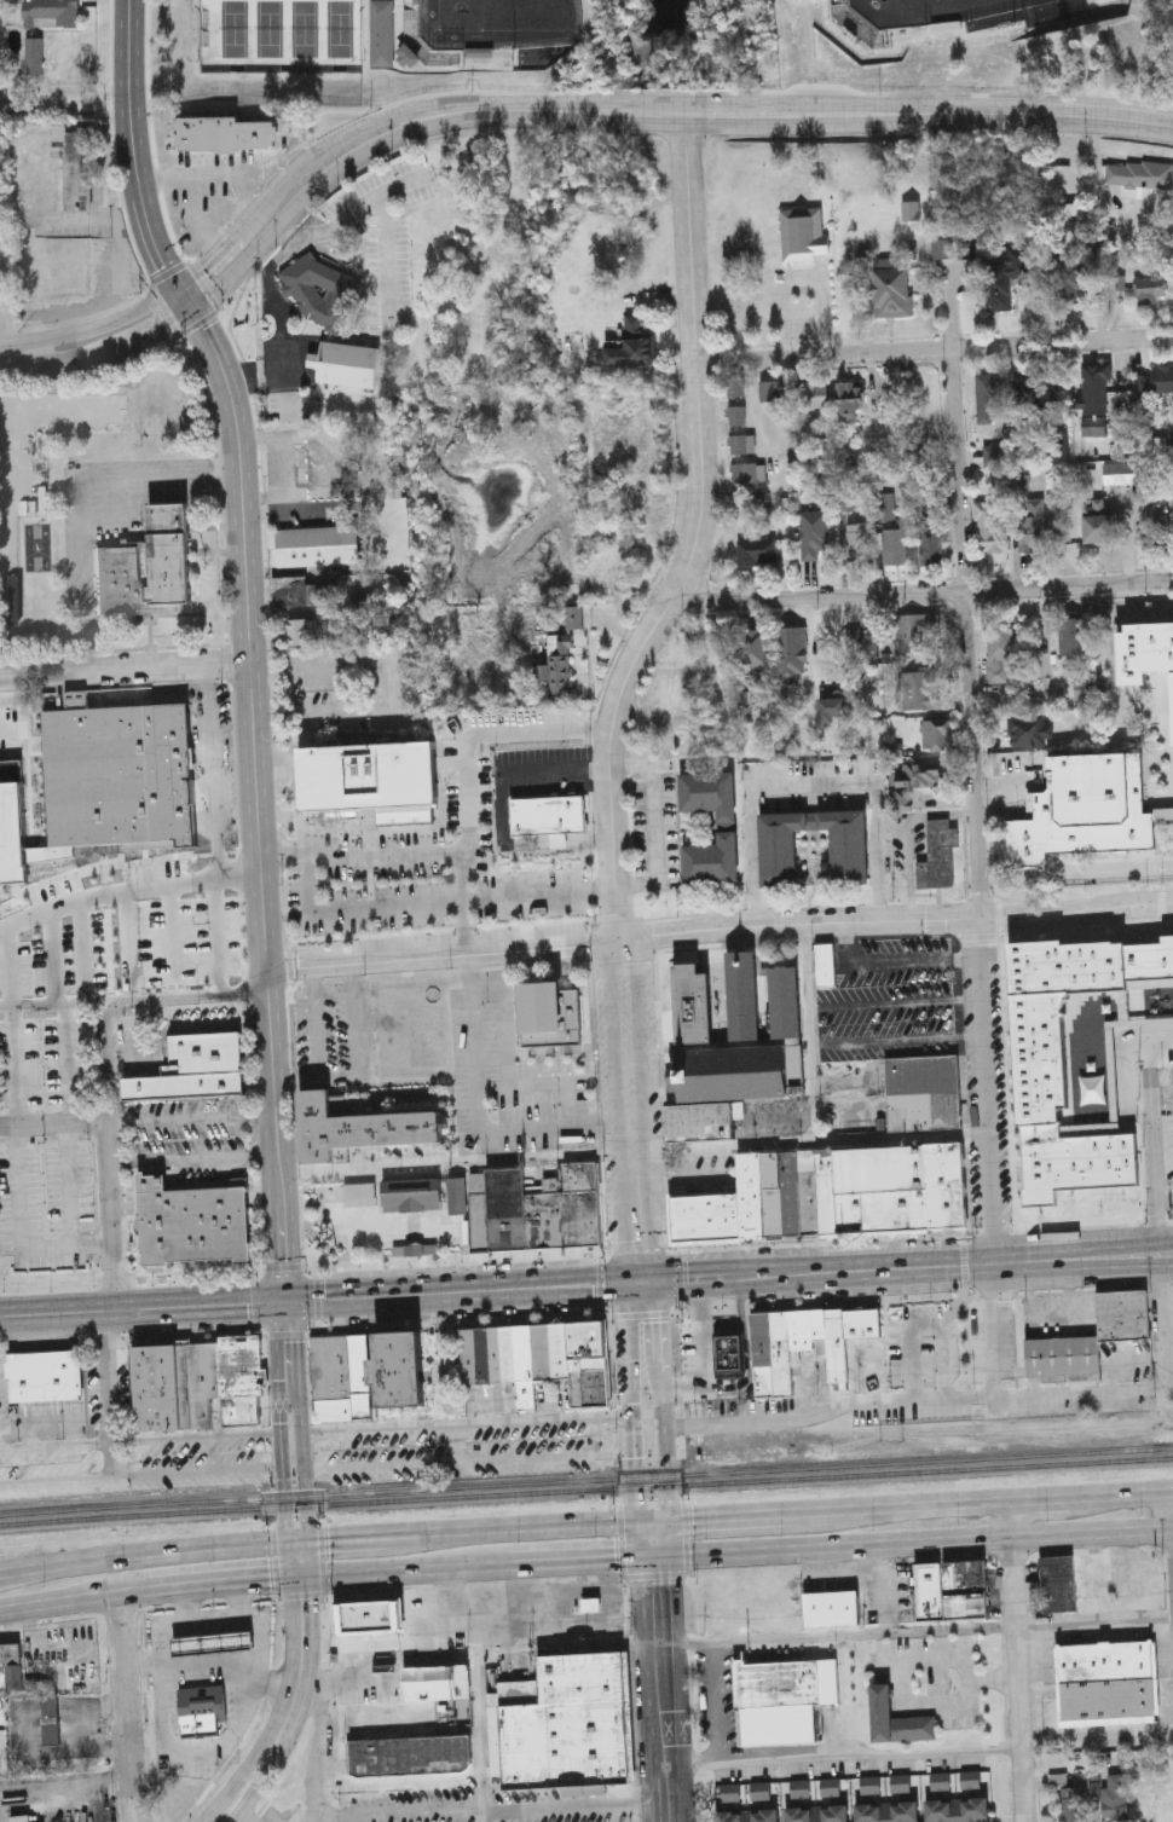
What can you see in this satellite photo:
park: (931, 11)
building: (51, 12)
park: (501, 23)
building: (381, 35)
park: (279, 36)
road: (897, 39)
building: (34, 54)
road: (817, 114)
building: (224, 134)
building: (34, 149)
road: (135, 162)
road: (302, 164)
building: (77, 169)
building: (1138, 175)
building: (34, 191)
road: (313, 193)
parking lot: (379, 196)
building: (909, 209)
building: (803, 232)
road: (288, 236)
road: (279, 260)
road: (387, 262)
building: (1006, 278)
parking lot: (387, 279)
building: (1070, 284)
building: (1155, 288)
traffic signals: (179, 289)
building: (892, 289)
building: (314, 296)
building: (0, 299)
traffic signals: (192, 314)
building: (635, 324)
road: (100, 326)
road: (155, 331)
road: (935, 347)
road: (8, 353)
building: (638, 353)
road: (67, 359)
building: (346, 366)
building: (1154, 381)
building: (1096, 383)
building: (770, 389)
building: (1035, 391)
building: (813, 393)
road: (284, 397)
building: (849, 397)
building: (988, 398)
building: (736, 401)
parking lot: (289, 407)
building: (742, 443)
building: (1058, 446)
building: (749, 470)
road: (87, 505)
building: (1098, 522)
building: (1030, 525)
building: (989, 528)
building: (1162, 528)
road: (699, 537)
building: (856, 544)
building: (317, 545)
building: (892, 545)
building: (930, 545)
building: (756, 550)
building: (148, 568)
building: (311, 591)
road: (926, 596)
building: (574, 619)
building: (301, 631)
building: (915, 631)
building: (1073, 635)
building: (863, 648)
building: (752, 649)
building: (792, 650)
building: (1144, 650)
building: (999, 654)
building: (559, 665)
road: (126, 666)
building: (1084, 688)
building: (918, 689)
building: (1028, 729)
building: (1123, 730)
building: (936, 734)
road: (556, 771)
building: (369, 774)
building: (120, 776)
building: (912, 783)
road: (809, 787)
parking lot: (807, 788)
building: (709, 792)
road: (259, 803)
road: (971, 804)
building: (1084, 808)
building: (548, 816)
road: (913, 821)
road: (652, 826)
road: (219, 827)
road: (469, 829)
road: (879, 852)
building: (779, 854)
building: (711, 857)
building: (938, 858)
road: (751, 860)
road: (1103, 873)
road: (241, 874)
parking lot: (131, 877)
road: (105, 892)
road: (466, 897)
road: (908, 902)
road: (435, 903)
road: (896, 924)
road: (173, 941)
road: (129, 945)
road: (745, 945)
road: (109, 947)
road: (82, 953)
road: (444, 953)
road: (54, 958)
building: (825, 964)
building: (1166, 965)
road: (890, 966)
road: (8, 967)
building: (1075, 970)
road: (1146, 976)
building: (742, 995)
road: (134, 1000)
parking lot: (889, 1000)
building: (785, 1001)
building: (692, 1002)
road: (894, 1006)
building: (550, 1014)
road: (184, 1030)
parking lot: (331, 1036)
road: (808, 1036)
parking lot: (140, 1041)
road: (1161, 1041)
road: (895, 1042)
building: (1077, 1048)
parking lot: (46, 1059)
parking lot: (625, 1064)
road: (67, 1065)
building: (196, 1069)
building: (921, 1072)
building: (730, 1074)
road: (341, 1077)
road: (643, 1107)
road: (617, 1109)
building: (924, 1110)
parking lot: (183, 1120)
road: (191, 1122)
building: (357, 1127)
road: (52, 1128)
road: (548, 1129)
road: (816, 1143)
road: (1154, 1147)
road: (106, 1156)
parking lot: (196, 1161)
road: (192, 1163)
road: (462, 1163)
building: (582, 1178)
road: (668, 1181)
building: (946, 1184)
road: (70, 1188)
building: (872, 1188)
building: (808, 1192)
building: (412, 1193)
building: (780, 1193)
building: (751, 1195)
road: (300, 1201)
parking lot: (1171, 1201)
road: (1165, 1202)
building: (458, 1205)
parking lot: (45, 1207)
building: (507, 1210)
building: (479, 1213)
park: (383, 1216)
building: (706, 1216)
building: (590, 1219)
building: (572, 1220)
building: (545, 1221)
building: (191, 1224)
road: (22, 1230)
road: (669, 1236)
road: (814, 1244)
road: (636, 1248)
road: (453, 1257)
road: (912, 1266)
road: (965, 1266)
road: (151, 1276)
traffic signals: (653, 1280)
traffic signals: (628, 1282)
road: (599, 1283)
road: (671, 1283)
road: (468, 1291)
road: (746, 1292)
road: (698, 1295)
traffic signals: (284, 1302)
road: (317, 1305)
road: (817, 1306)
road: (141, 1308)
building: (1122, 1314)
road: (640, 1315)
road: (929, 1318)
road: (722, 1323)
building: (863, 1323)
road: (1161, 1329)
road: (368, 1330)
road: (993, 1332)
building: (796, 1347)
parking lot: (928, 1347)
building: (542, 1350)
building: (560, 1350)
road: (700, 1350)
building: (508, 1353)
building: (484, 1354)
building: (496, 1354)
building: (469, 1355)
building: (729, 1355)
building: (1062, 1355)
building: (589, 1363)
building: (525, 1366)
building: (399, 1370)
road: (434, 1373)
building: (45, 1377)
building: (342, 1377)
building: (201, 1383)
road: (740, 1388)
road: (1080, 1395)
road: (828, 1416)
parking lot: (915, 1419)
road: (661, 1421)
road: (634, 1423)
road: (469, 1428)
road: (305, 1438)
road: (281, 1440)
road: (139, 1444)
parking lot: (461, 1446)
parking lot: (463, 1448)
parking lot: (195, 1462)
road: (469, 1462)
parking lot: (50, 1470)
road: (140, 1477)
railway: (585, 1479)
railway: (585, 1490)
road: (1122, 1492)
road: (1040, 1497)
road: (906, 1505)
road: (736, 1515)
traffic signals: (670, 1519)
traffic signals: (638, 1520)
road: (334, 1537)
traffic signals: (308, 1539)
traffic signals: (285, 1540)
road: (915, 1543)
traffic signals: (659, 1561)
road: (584, 1564)
road: (409, 1573)
road: (300, 1580)
traffic signals: (310, 1580)
traffic signals: (290, 1581)
road: (220, 1585)
building: (965, 1589)
building: (929, 1591)
road: (75, 1601)
road: (239, 1602)
road: (186, 1606)
building: (831, 1608)
road: (220, 1620)
road: (918, 1630)
building: (212, 1644)
gas station: (212, 1644)
road: (611, 1644)
building: (11, 1654)
road: (1019, 1660)
road: (123, 1667)
road: (208, 1667)
building: (437, 1681)
building: (1109, 1682)
road: (479, 1689)
road: (664, 1690)
building: (782, 1697)
road: (166, 1701)
building: (202, 1710)
road: (301, 1711)
road: (244, 1712)
road: (281, 1713)
building: (50, 1719)
building: (896, 1719)
building: (566, 1724)
road: (317, 1748)
building: (410, 1753)
road: (186, 1754)
road: (845, 1757)
road: (123, 1782)
road: (132, 1782)
building: (1115, 1797)
building: (1073, 1804)
parking lot: (409, 1806)
parking lot: (556, 1809)
building: (958, 1810)
building: (888, 1811)
road: (491, 1812)
building: (817, 1812)
building: (747, 1815)
road: (245, 1816)

